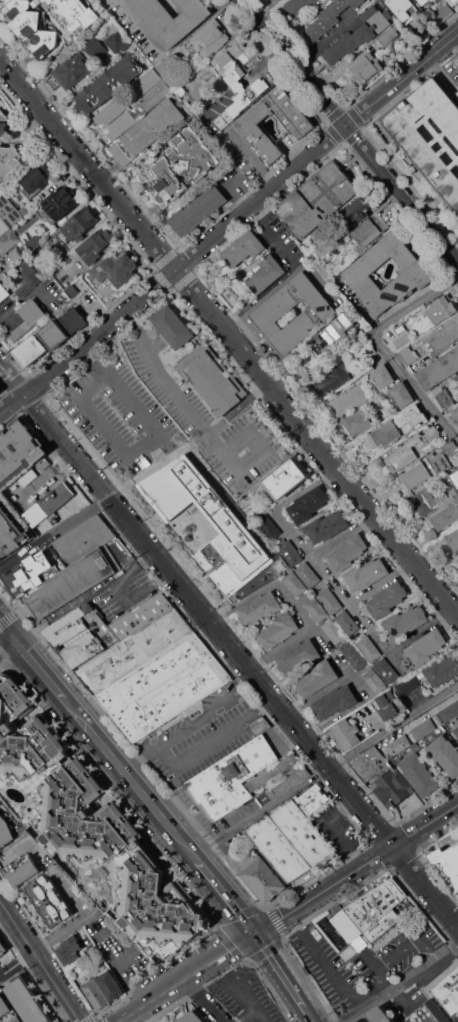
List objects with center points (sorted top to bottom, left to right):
building: (272, 0)
building: (423, 1)
building: (455, 1)
building: (298, 6)
building: (404, 7)
building: (443, 12)
building: (172, 17)
building: (329, 18)
building: (424, 26)
building: (32, 30)
building: (391, 34)
building: (359, 35)
building: (211, 38)
building: (116, 39)
road: (325, 39)
building: (96, 48)
building: (456, 60)
building: (368, 67)
building: (166, 70)
building: (70, 71)
road: (444, 76)
building: (239, 80)
building: (147, 81)
building: (109, 82)
building: (156, 95)
building: (109, 112)
building: (3, 123)
building: (250, 124)
building: (121, 125)
road: (349, 129)
building: (146, 131)
building: (418, 143)
building: (10, 160)
road: (255, 160)
building: (157, 169)
building: (36, 177)
building: (319, 198)
building: (60, 202)
building: (9, 209)
building: (359, 209)
building: (198, 210)
road: (135, 223)
building: (77, 225)
building: (3, 226)
road: (230, 227)
building: (371, 230)
building: (9, 240)
building: (95, 245)
building: (244, 248)
road: (286, 249)
building: (1, 268)
building: (115, 269)
building: (359, 272)
building: (266, 274)
building: (28, 278)
building: (3, 292)
building: (443, 308)
building: (318, 313)
building: (23, 319)
building: (74, 320)
building: (172, 326)
building: (54, 333)
building: (333, 333)
building: (443, 337)
building: (404, 340)
road: (386, 348)
building: (368, 349)
building: (31, 350)
building: (409, 355)
road: (91, 361)
building: (440, 370)
road: (160, 376)
building: (383, 376)
building: (212, 378)
building: (333, 379)
building: (457, 379)
road: (12, 380)
road: (85, 387)
building: (403, 394)
building: (349, 399)
building: (446, 399)
road: (237, 407)
building: (456, 414)
building: (414, 416)
road: (46, 420)
building: (357, 421)
building: (433, 432)
building: (384, 434)
road: (201, 437)
building: (451, 448)
building: (18, 451)
road: (155, 451)
building: (404, 454)
building: (440, 461)
building: (43, 463)
road: (159, 463)
road: (230, 465)
building: (28, 476)
building: (415, 476)
building: (285, 478)
building: (453, 478)
road: (116, 492)
building: (57, 497)
road: (364, 499)
building: (424, 501)
building: (308, 505)
building: (444, 518)
building: (327, 526)
building: (269, 527)
building: (232, 528)
building: (11, 534)
road: (54, 534)
road: (343, 534)
building: (453, 539)
building: (290, 552)
building: (347, 552)
building: (128, 561)
building: (77, 567)
road: (127, 572)
building: (366, 573)
building: (29, 574)
building: (308, 574)
road: (381, 581)
building: (295, 583)
building: (387, 599)
building: (330, 600)
road: (295, 603)
road: (349, 603)
building: (260, 607)
building: (316, 609)
building: (406, 621)
building: (347, 622)
road: (421, 628)
building: (101, 630)
building: (278, 630)
building: (334, 631)
road: (7, 632)
road: (7, 647)
building: (368, 647)
building: (426, 647)
building: (135, 652)
building: (353, 655)
building: (298, 656)
building: (387, 670)
building: (442, 670)
road: (39, 671)
building: (317, 678)
building: (375, 681)
road: (263, 683)
building: (409, 685)
building: (164, 687)
building: (335, 702)
building: (387, 704)
building: (450, 711)
road: (191, 721)
building: (260, 726)
building: (423, 729)
building: (456, 730)
road: (222, 732)
building: (346, 734)
building: (457, 738)
building: (398, 745)
road: (148, 749)
building: (445, 754)
road: (324, 771)
building: (419, 774)
building: (382, 776)
road: (127, 778)
building: (278, 778)
building: (230, 779)
building: (312, 799)
building: (8, 827)
building: (89, 830)
road: (334, 830)
building: (303, 833)
building: (279, 848)
road: (15, 851)
building: (448, 863)
building: (22, 869)
building: (259, 874)
road: (222, 895)
building: (49, 901)
building: (336, 908)
road: (287, 913)
building: (369, 914)
traffic signals: (252, 935)
road: (47, 941)
building: (2, 947)
building: (70, 949)
building: (83, 952)
road: (40, 960)
road: (331, 971)
road: (279, 974)
building: (110, 985)
road: (402, 985)
building: (449, 991)
road: (239, 992)
building: (95, 994)
building: (28, 1000)
road: (203, 1000)
building: (7, 1010)
building: (437, 1010)
road: (244, 1015)
road: (259, 1015)
building: (380, 1015)
building: (191, 1018)
road: (308, 1018)
building: (456, 1020)

